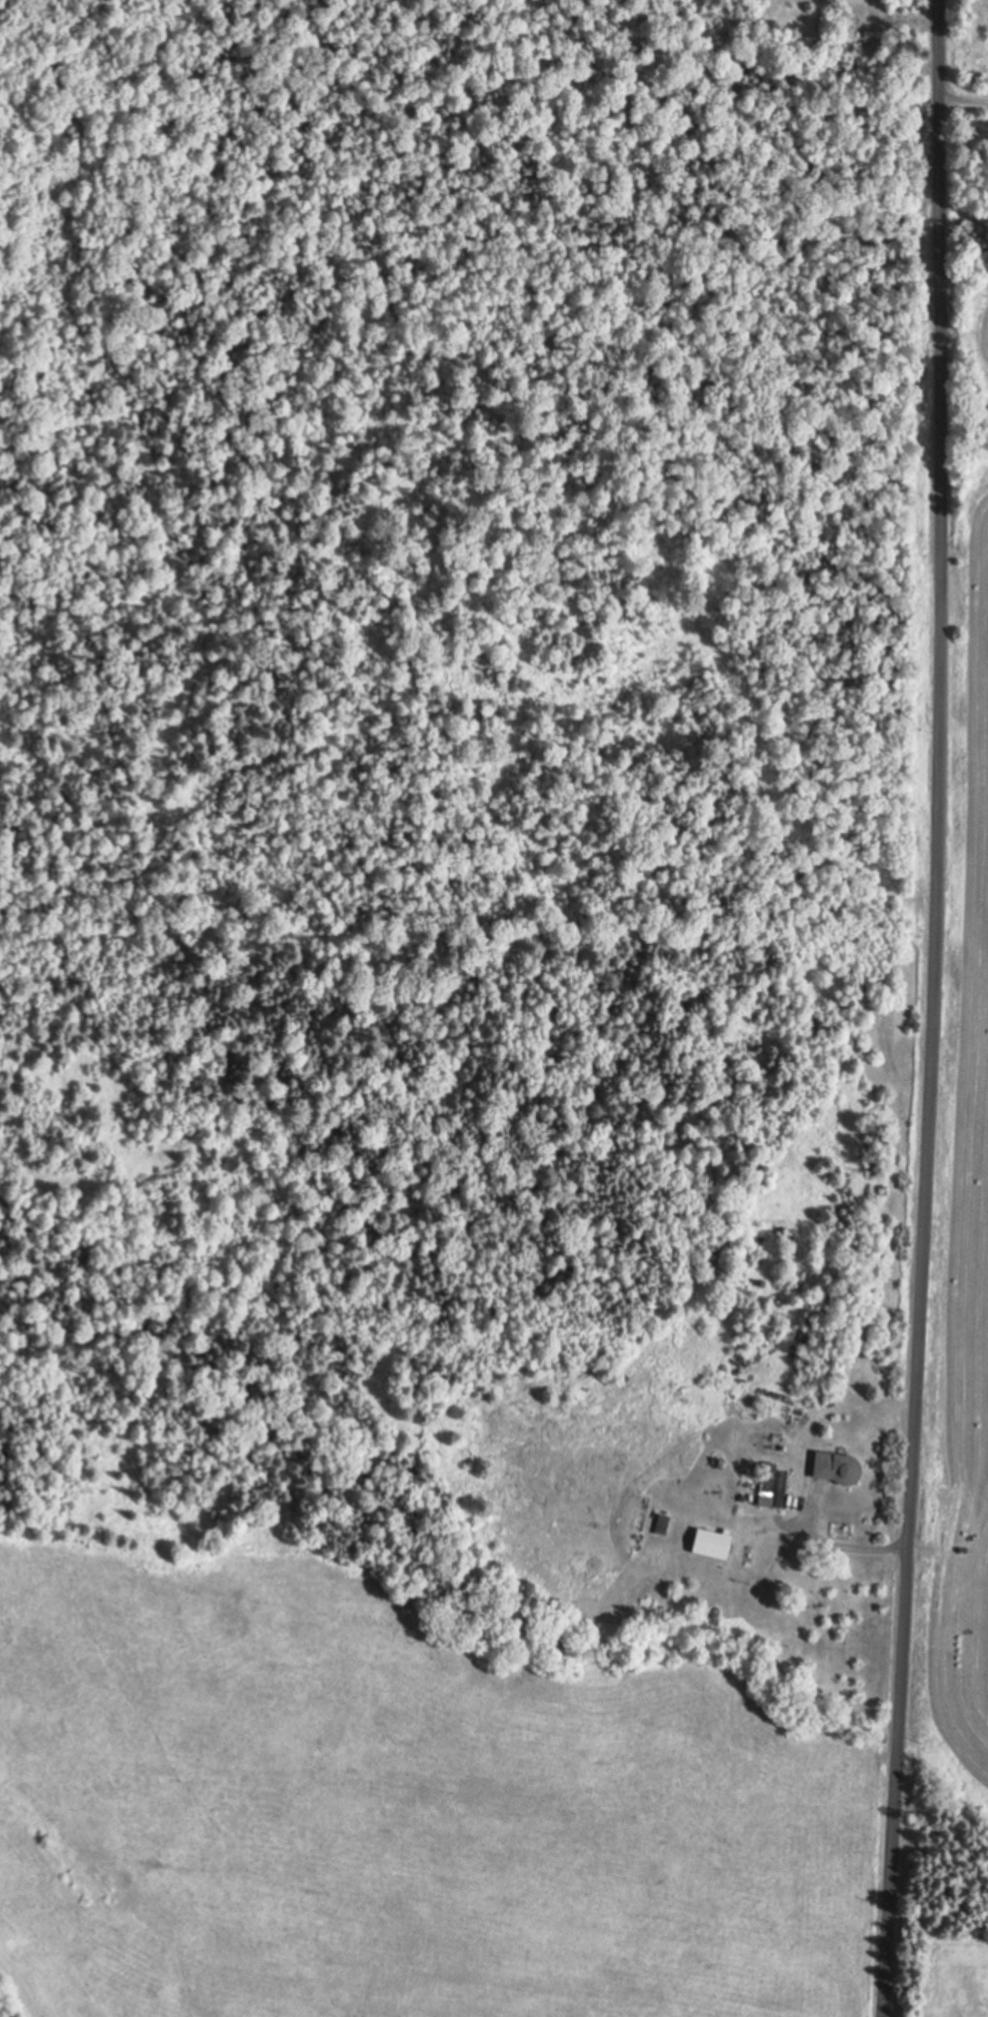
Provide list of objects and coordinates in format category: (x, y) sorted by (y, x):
building: (730, 15)
building: (824, 27)
building: (877, 35)
building: (910, 69)
road: (930, 1009)
building: (839, 1468)
building: (773, 1486)
building: (664, 1525)
building: (713, 1543)
road: (844, 1543)

